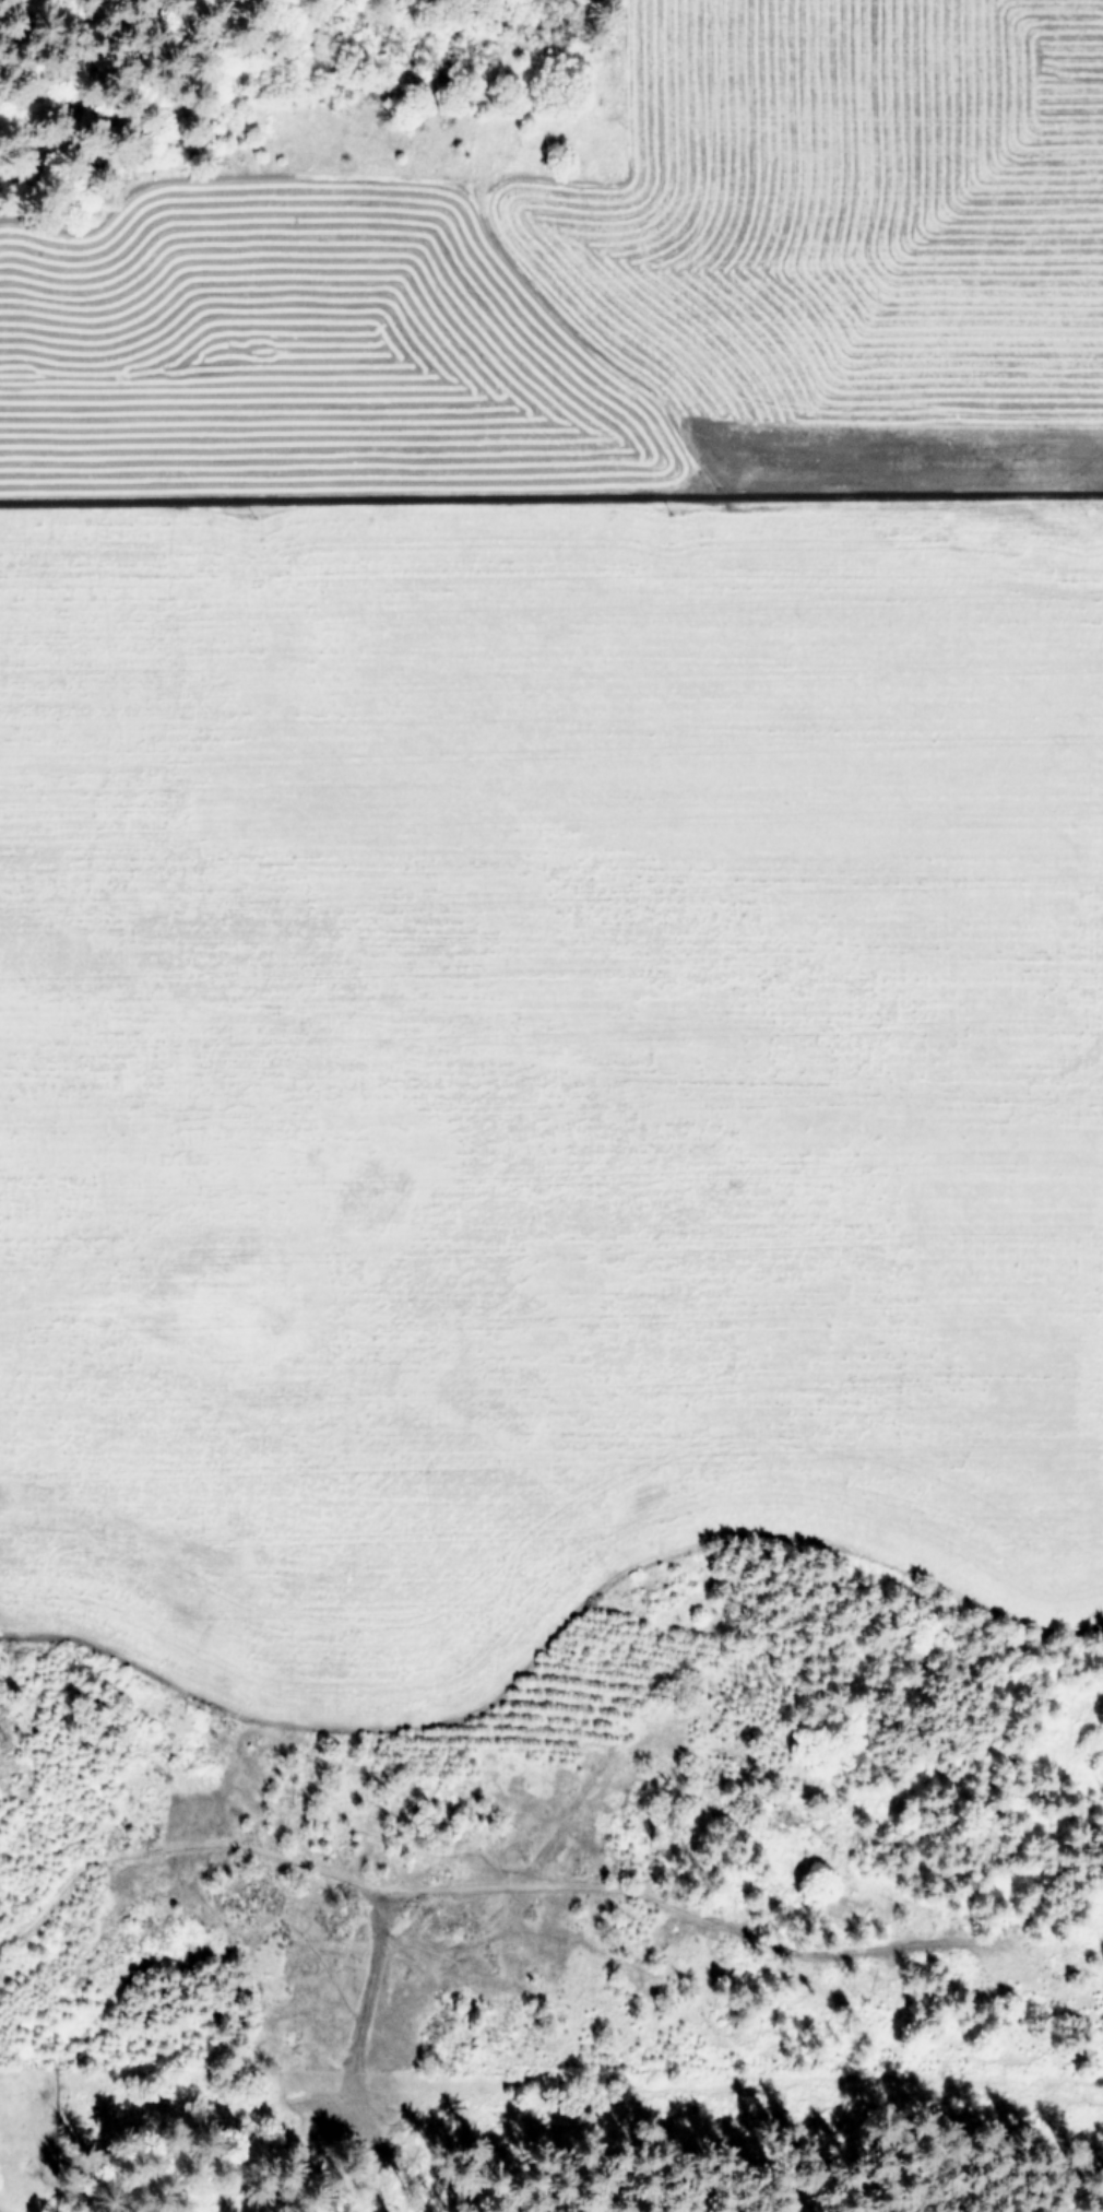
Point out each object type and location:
road: (550, 498)
road: (550, 1629)
road: (284, 1856)
road: (675, 1909)

